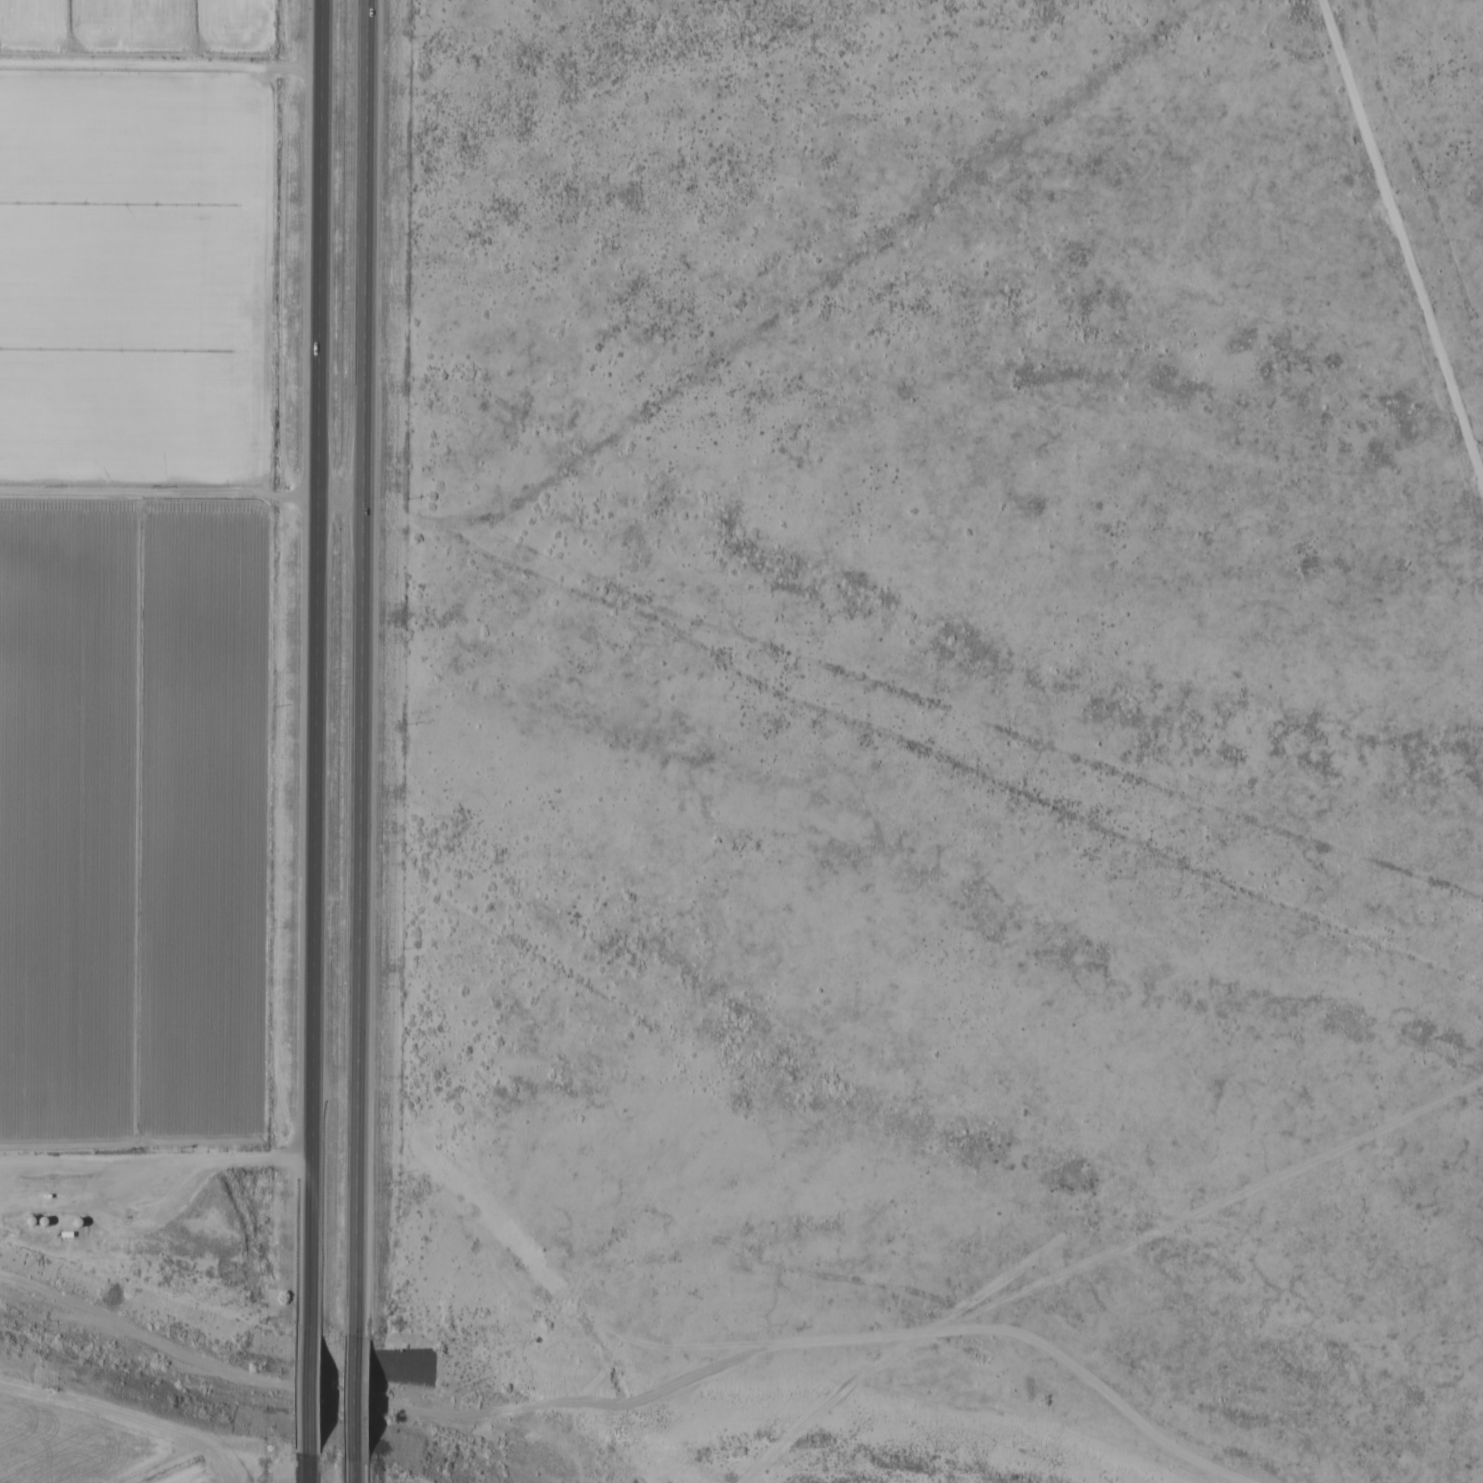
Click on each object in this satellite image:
road: (377, 160)
road: (332, 162)
road: (1399, 240)
road: (351, 491)
road: (326, 824)
road: (371, 825)
road: (162, 1154)
road: (321, 1390)
road: (366, 1395)
road: (318, 1468)
road: (365, 1470)

